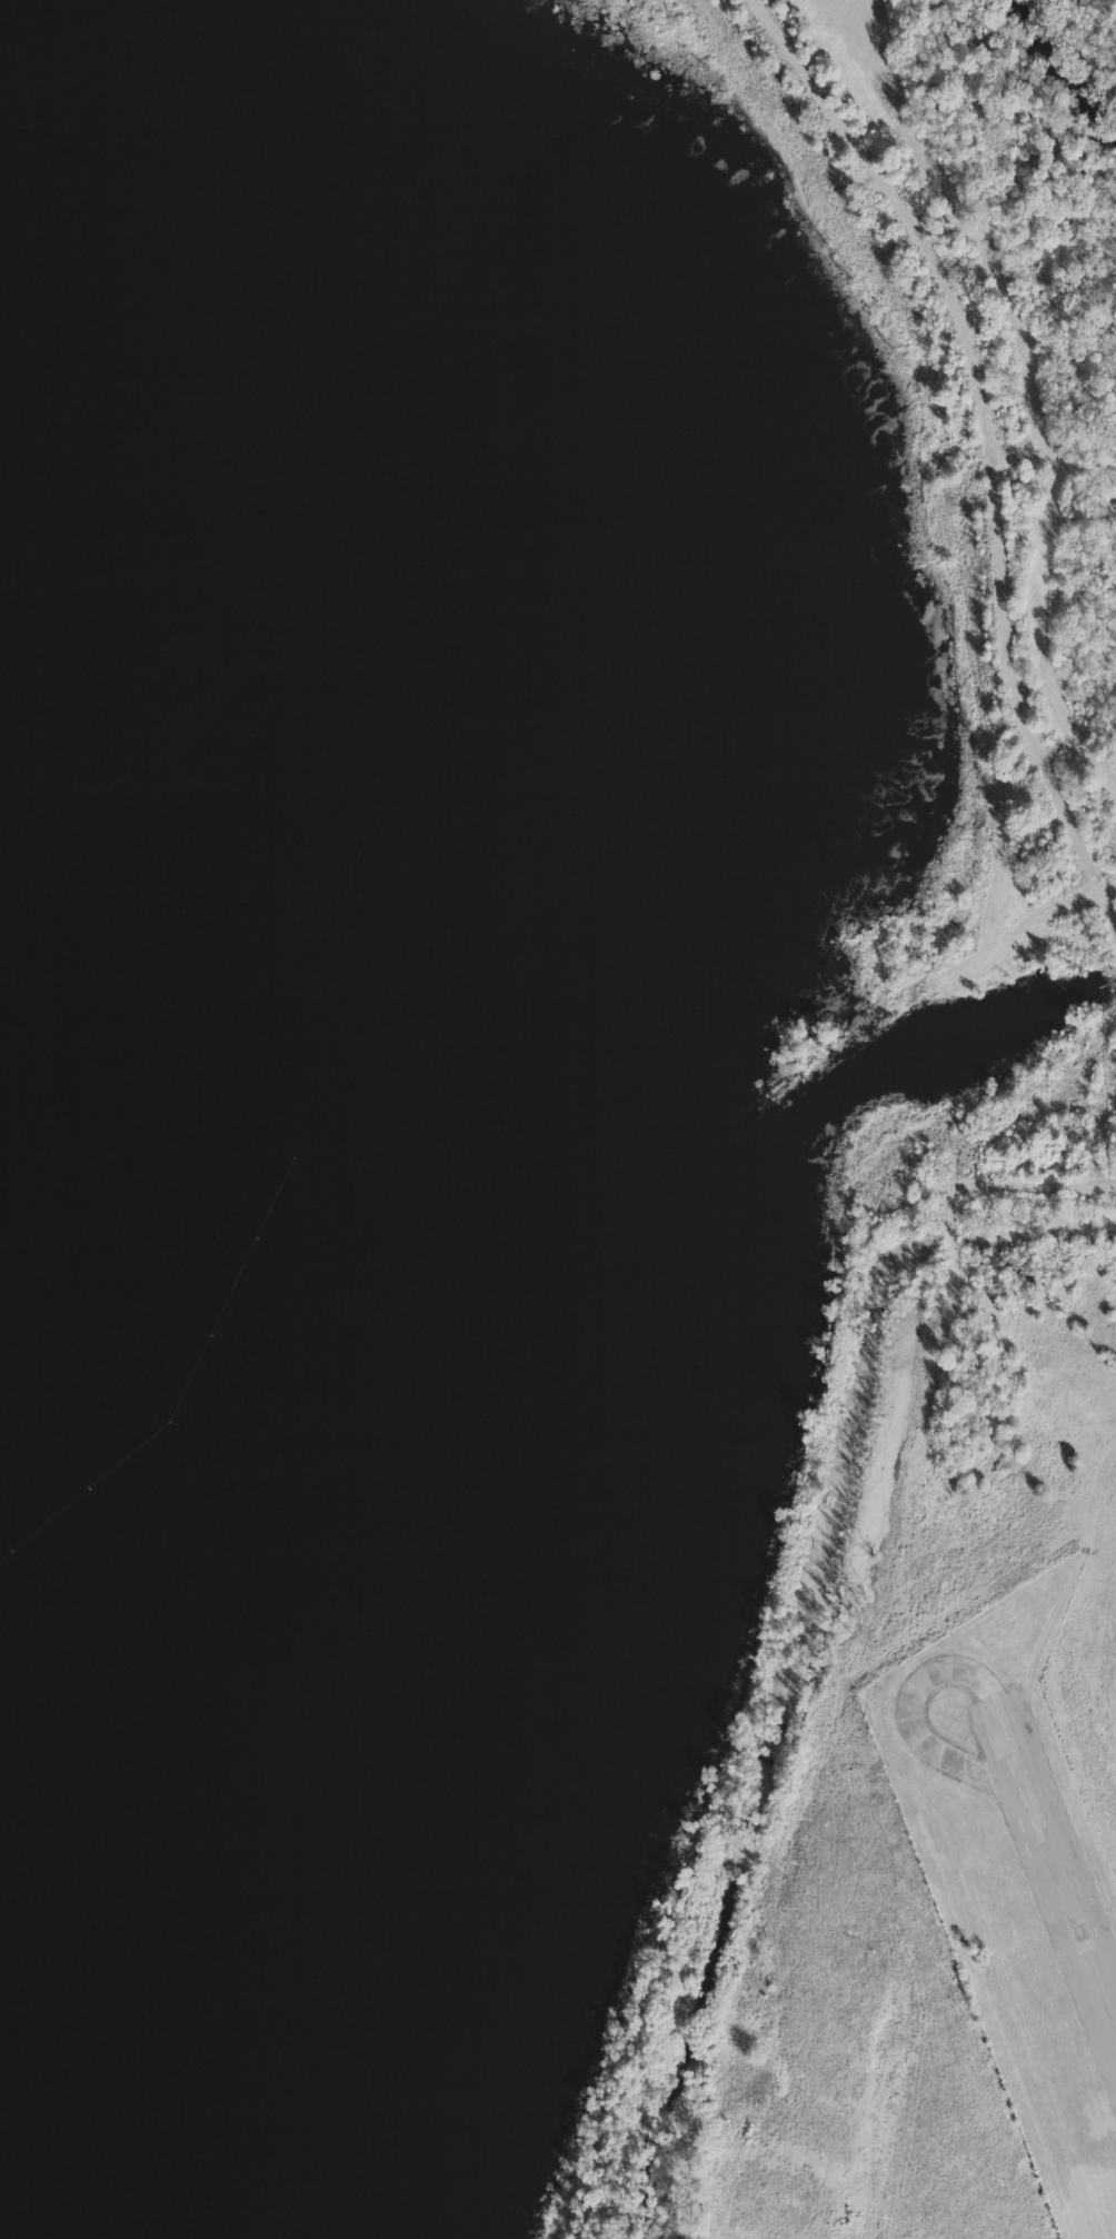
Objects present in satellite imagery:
river: (1077, 74)
airport taxiway: (913, 1730)
airport: (1025, 1855)
airport runway: (1054, 1863)

